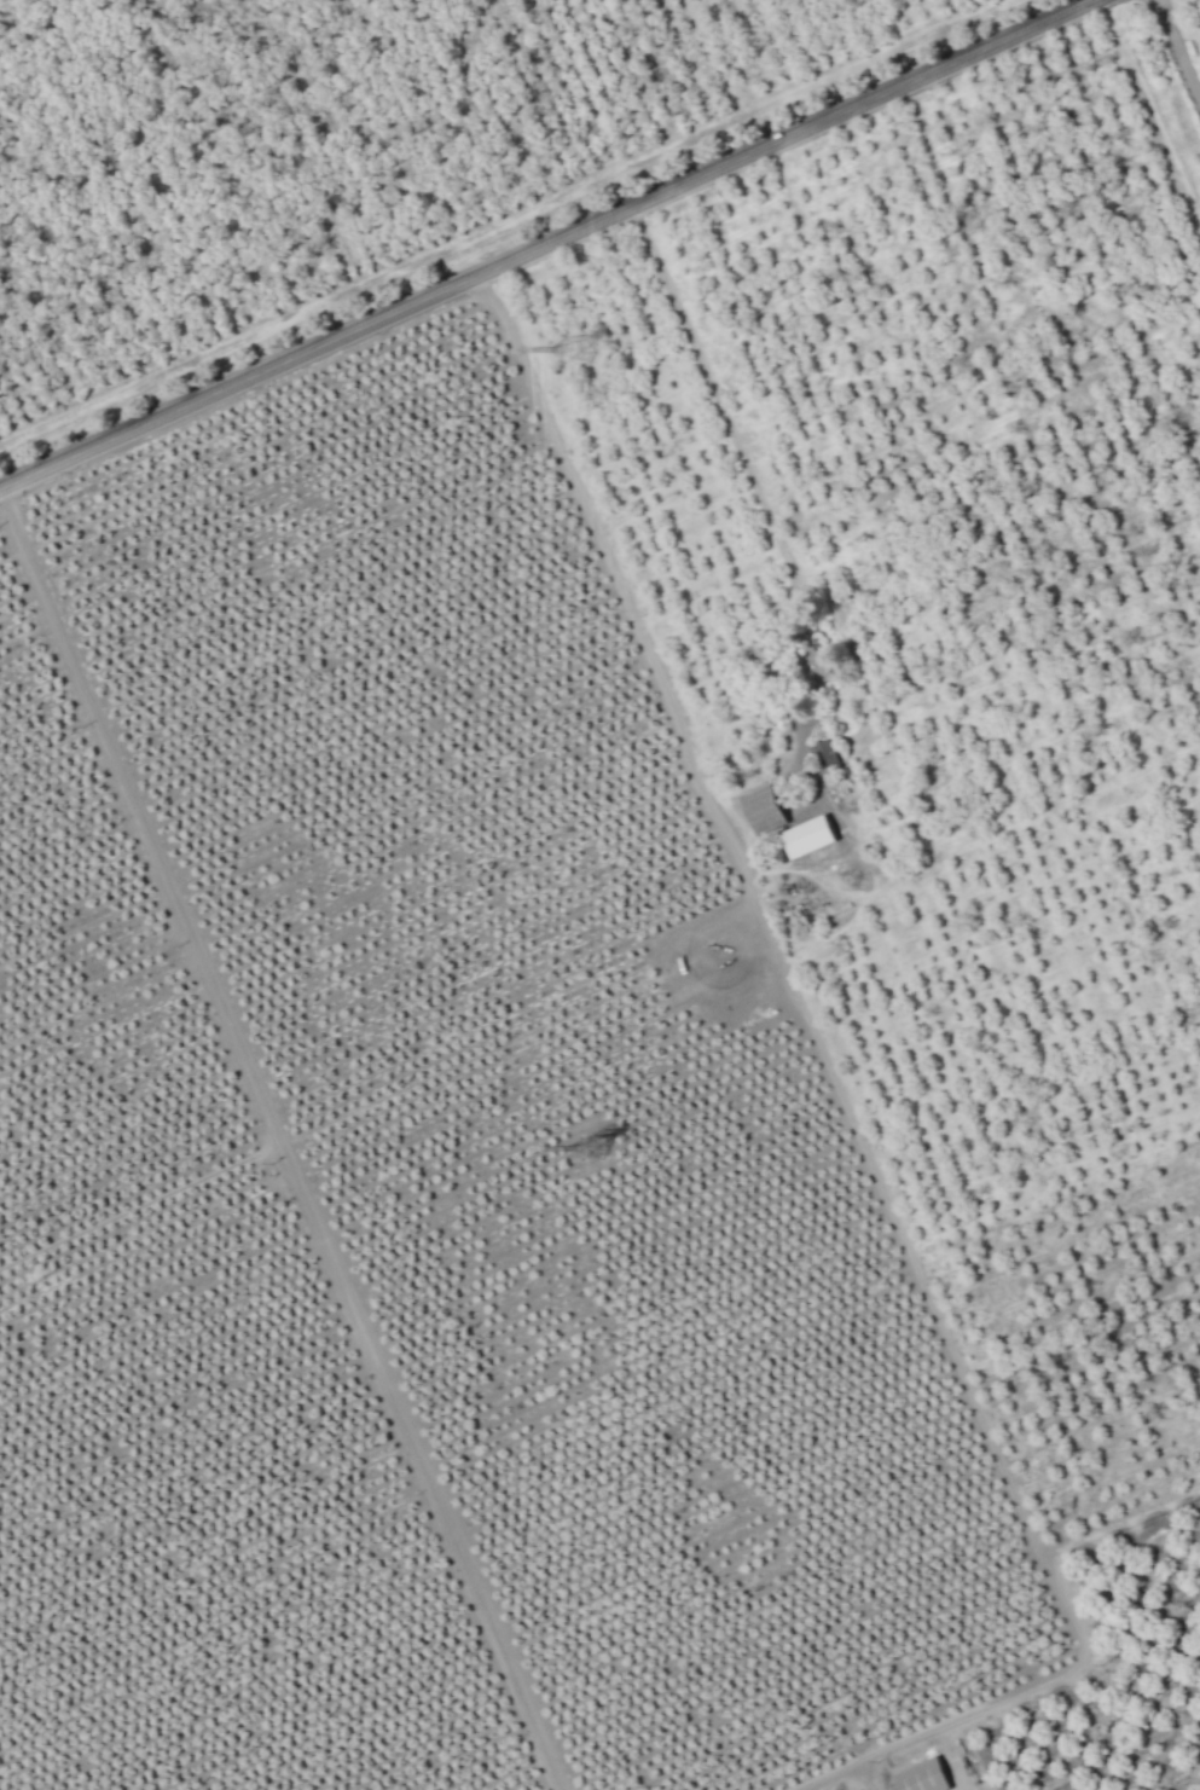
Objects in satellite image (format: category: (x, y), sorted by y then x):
road: (1182, 40)
road: (549, 249)
power tower: (579, 343)
road: (749, 475)
building: (761, 806)
building: (807, 838)
road: (846, 1111)
road: (280, 1146)
power tower: (591, 1147)
building: (921, 1777)

